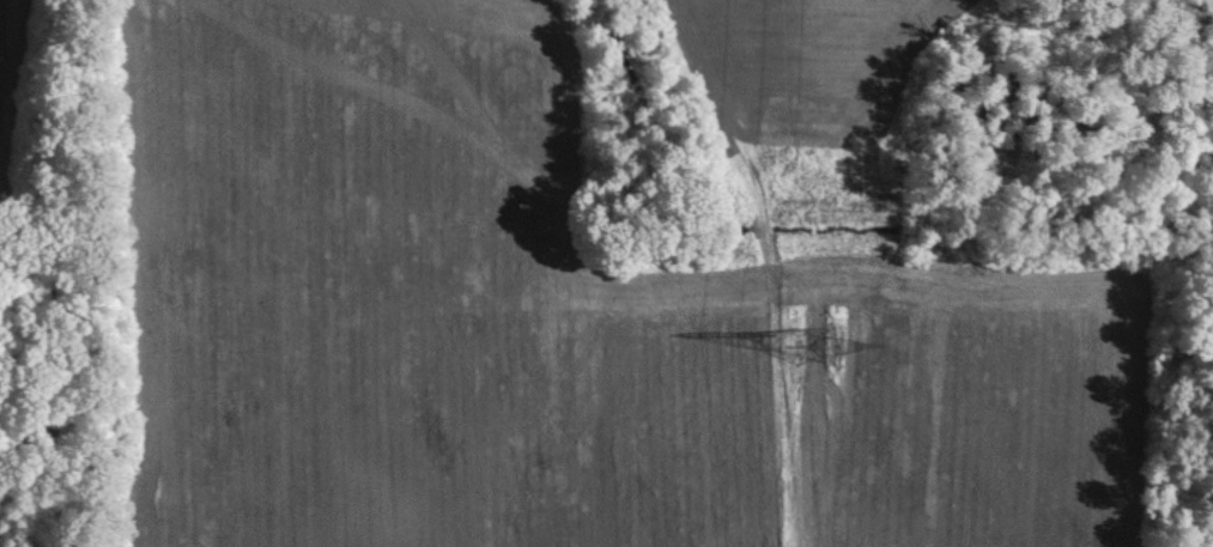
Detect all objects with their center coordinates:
power tower: (806, 338)

